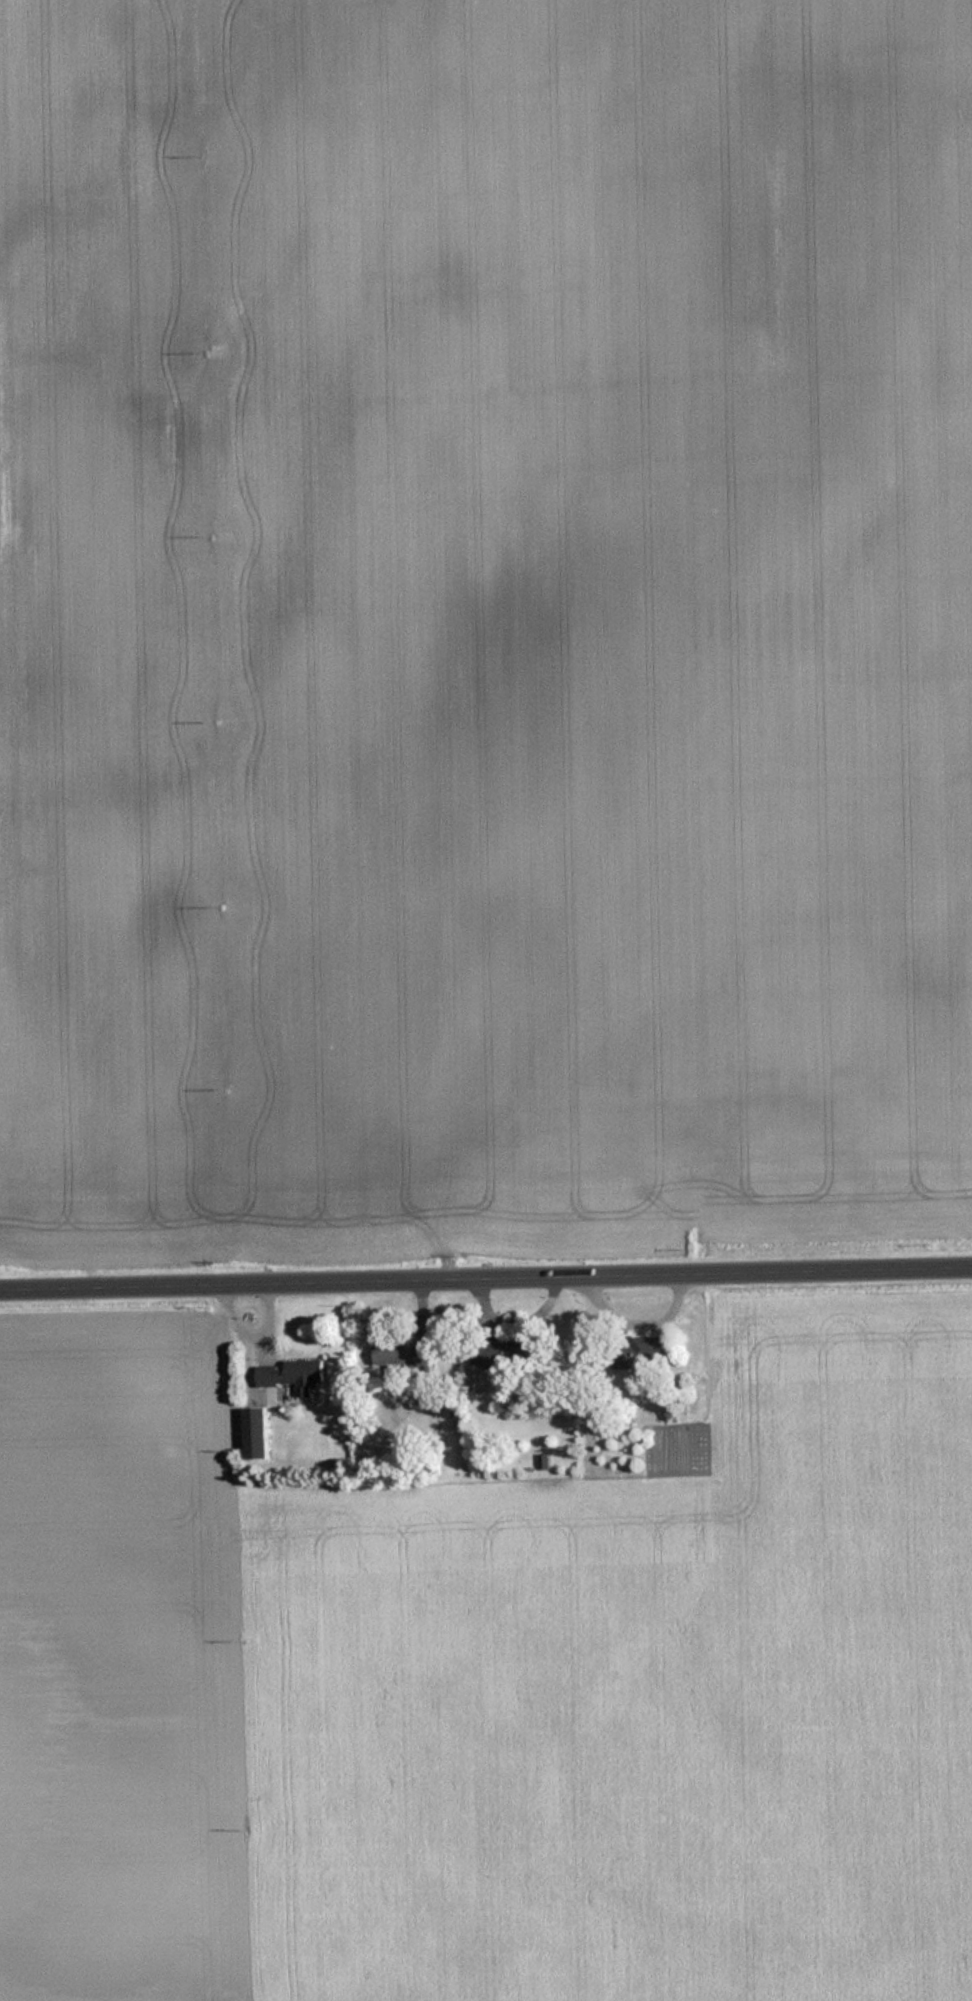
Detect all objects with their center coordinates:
road: (486, 1276)
building: (509, 1353)
building: (628, 1355)
building: (405, 1357)
building: (292, 1375)
building: (256, 1434)

